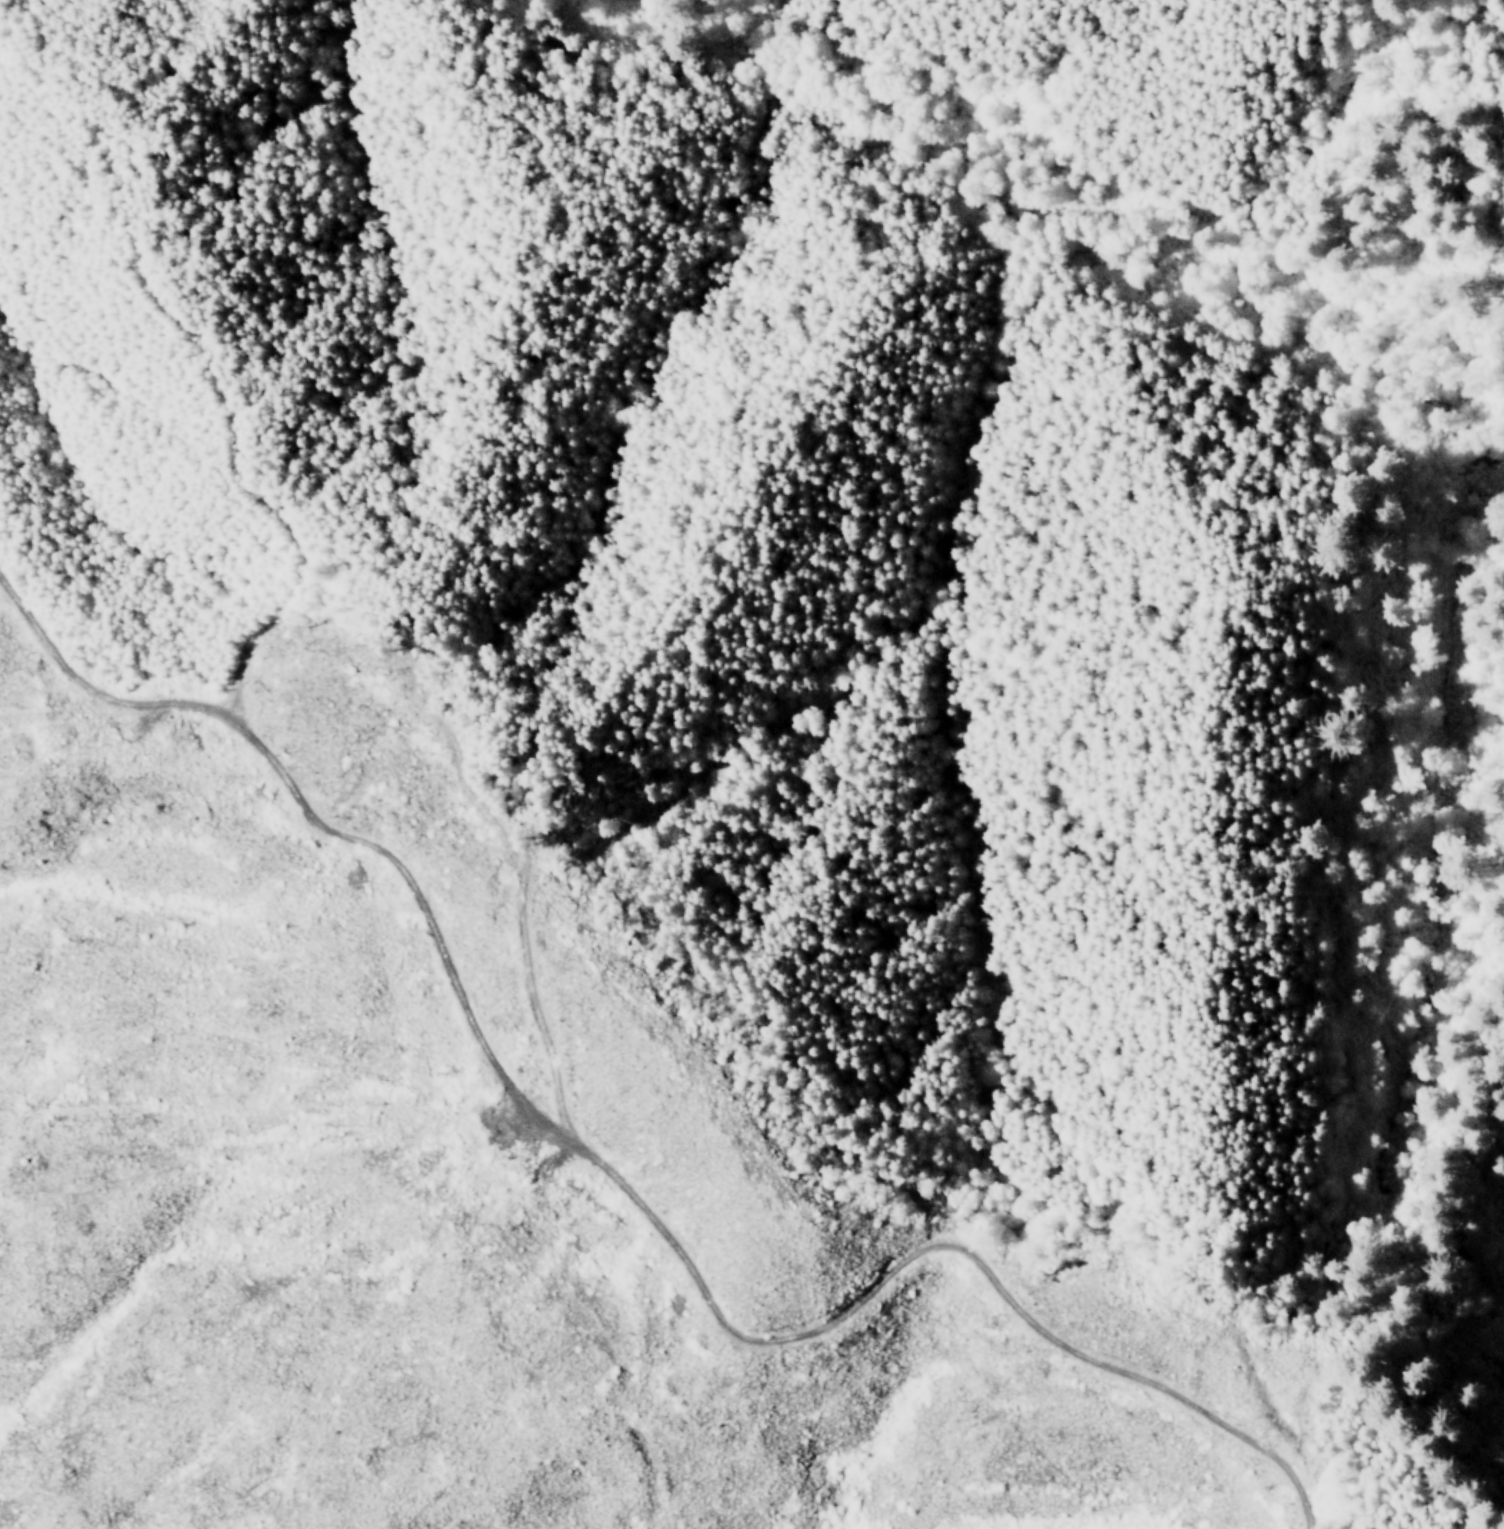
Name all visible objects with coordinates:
road: (1145, 1384)

